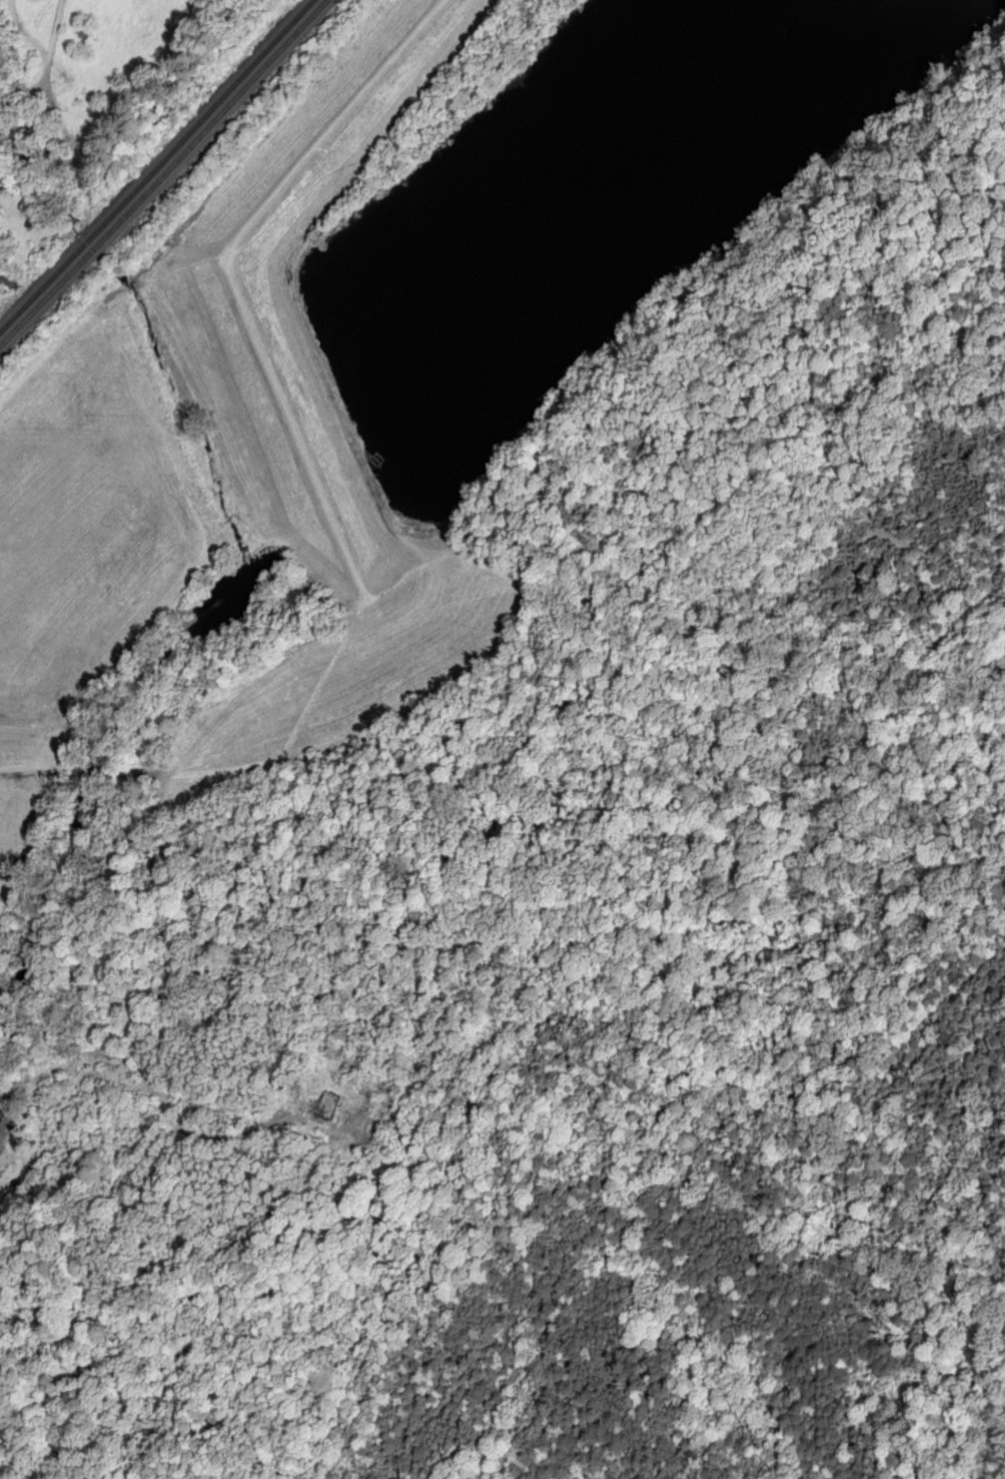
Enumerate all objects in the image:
road: (999, 104)
railway: (208, 112)
railway: (164, 174)
road: (978, 197)
railway: (52, 278)
road: (856, 403)
road: (574, 520)
road: (356, 565)
road: (330, 674)
road: (453, 801)
road: (518, 868)
road: (425, 988)
road: (823, 1045)
road: (145, 1067)
building: (329, 1104)
road: (537, 1125)
road: (718, 1150)
road: (154, 1167)
road: (816, 1336)
road: (485, 1360)

